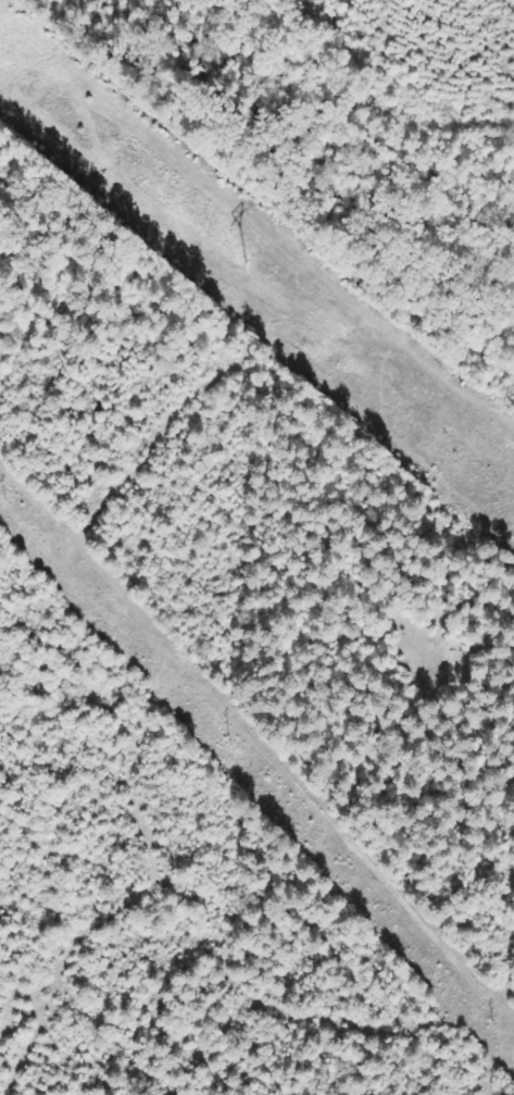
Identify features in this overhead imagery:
power tower: (247, 263)
power tower: (7, 498)
power tower: (230, 741)
road: (512, 821)
power tower: (494, 1023)

